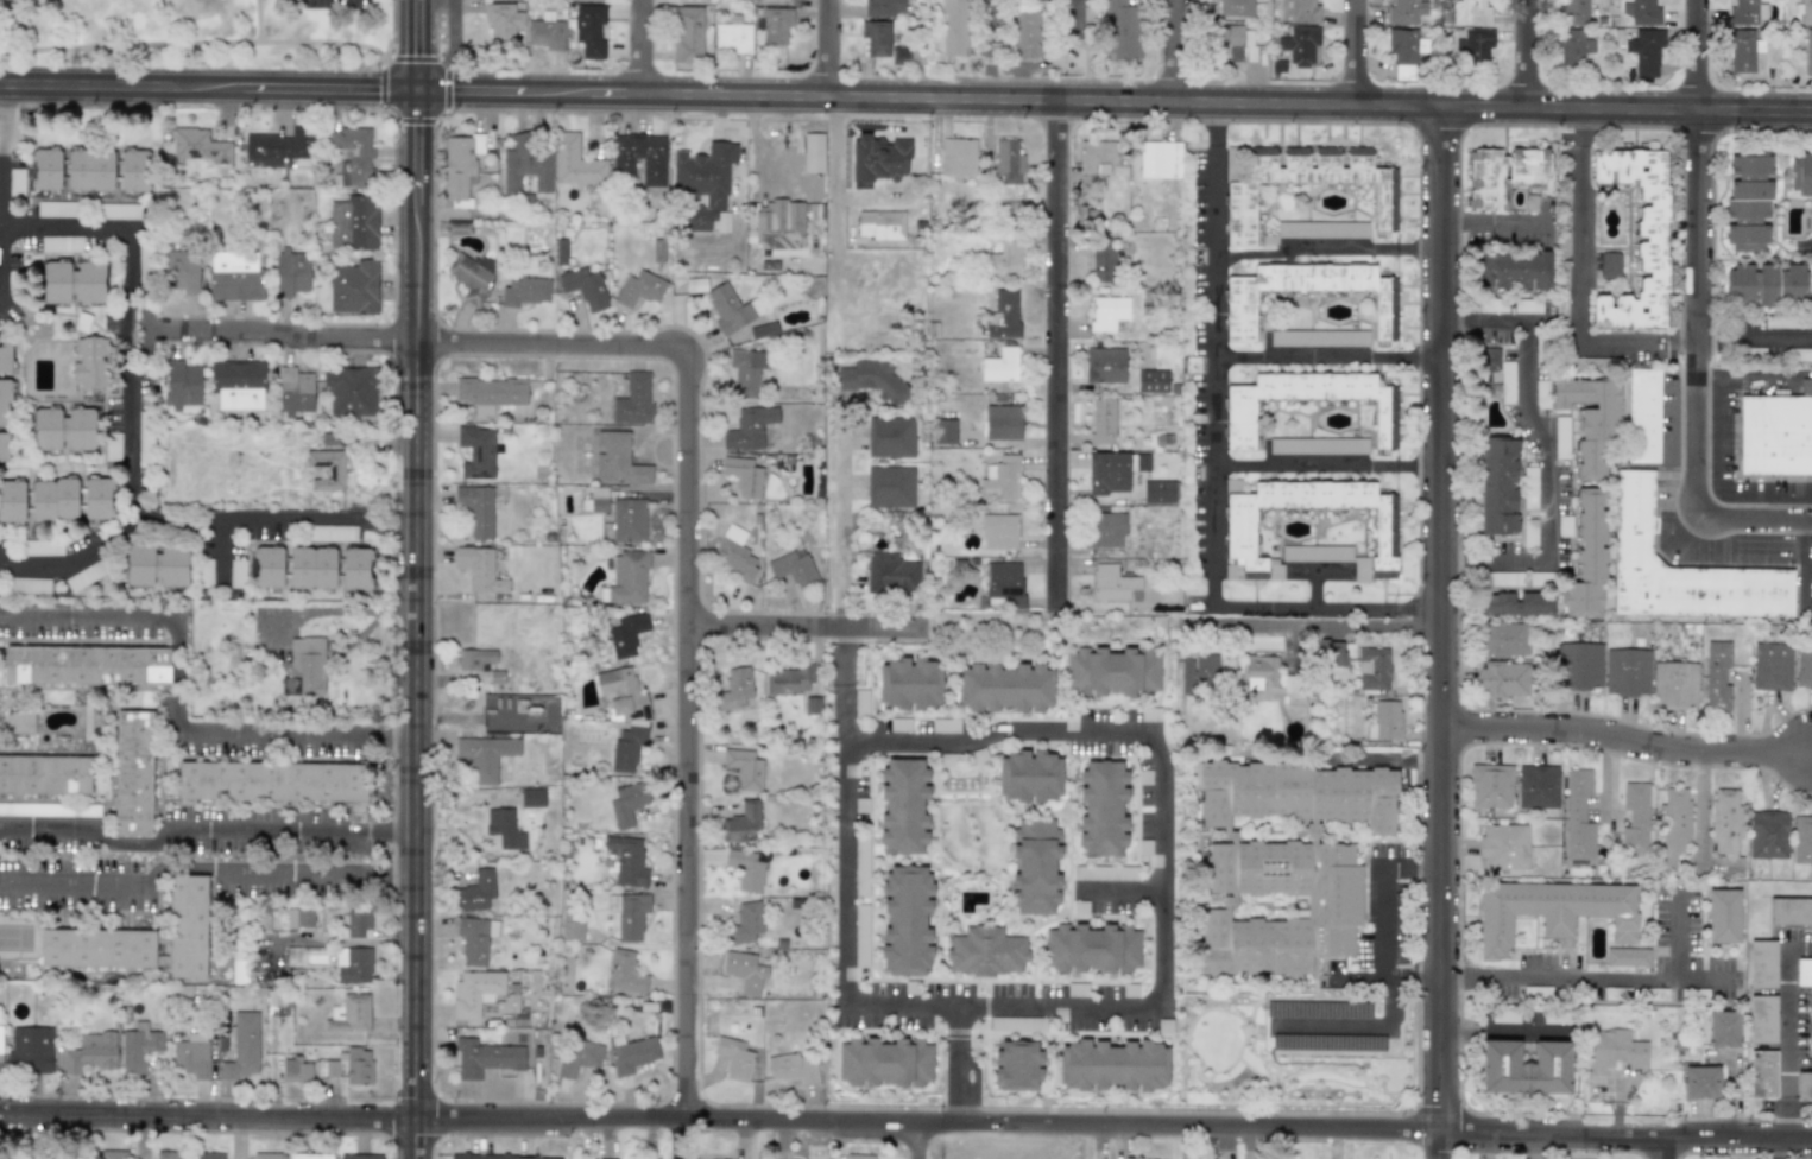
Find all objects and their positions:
building: (512, 0)
building: (587, 0)
building: (692, 1)
building: (771, 1)
building: (884, 7)
building: (1235, 8)
building: (1299, 11)
building: (1574, 11)
building: (1406, 12)
building: (1745, 12)
building: (1806, 12)
building: (1470, 13)
building: (1641, 13)
building: (503, 20)
building: (1071, 20)
road: (258, 21)
building: (774, 25)
building: (955, 27)
building: (1120, 28)
building: (589, 31)
park: (196, 33)
building: (545, 34)
building: (687, 34)
building: (1025, 34)
building: (733, 36)
building: (877, 39)
road: (415, 43)
building: (1233, 43)
road: (214, 45)
building: (1300, 45)
road: (642, 46)
building: (1402, 46)
building: (1472, 46)
road: (831, 49)
building: (1573, 49)
building: (1741, 50)
road: (991, 51)
road: (1172, 52)
building: (1646, 52)
building: (1807, 52)
road: (1357, 53)
road: (1527, 55)
road: (1698, 56)
building: (899, 57)
road: (207, 84)
road: (1112, 104)
road: (0, 120)
road: (1213, 138)
building: (200, 146)
building: (277, 147)
building: (813, 153)
building: (352, 156)
building: (958, 157)
building: (640, 158)
building: (879, 158)
building: (1160, 159)
building: (1094, 161)
building: (576, 163)
building: (524, 165)
building: (45, 169)
building: (460, 169)
building: (90, 170)
building: (134, 170)
building: (1008, 170)
building: (1503, 173)
building: (1800, 173)
building: (15, 182)
building: (705, 185)
building: (1748, 201)
building: (1242, 208)
building: (57, 209)
building: (1564, 210)
building: (119, 211)
road: (834, 218)
building: (353, 223)
building: (880, 224)
building: (779, 227)
building: (459, 228)
building: (1318, 230)
building: (1639, 239)
building: (59, 243)
building: (1564, 245)
road: (1292, 255)
road: (1407, 256)
building: (1005, 260)
building: (1104, 265)
building: (1610, 265)
building: (181, 271)
building: (1516, 271)
building: (291, 272)
building: (234, 277)
building: (471, 277)
building: (72, 283)
building: (1764, 284)
building: (689, 285)
building: (354, 287)
building: (585, 287)
building: (639, 289)
building: (524, 291)
building: (1492, 305)
building: (1527, 305)
building: (731, 309)
road: (1697, 311)
building: (1107, 312)
building: (1004, 315)
building: (1240, 316)
building: (1780, 322)
building: (763, 330)
building: (1319, 337)
road: (415, 340)
road: (1580, 342)
building: (1802, 355)
building: (5, 357)
road: (1055, 360)
road: (1327, 360)
building: (91, 363)
building: (1192, 365)
building: (1000, 366)
building: (1105, 366)
road: (1738, 369)
building: (746, 372)
building: (1503, 376)
building: (872, 379)
building: (1151, 381)
road: (127, 384)
building: (238, 384)
building: (182, 385)
building: (293, 392)
building: (351, 392)
building: (490, 393)
building: (1541, 394)
building: (633, 399)
building: (5, 401)
building: (1643, 416)
building: (1239, 418)
building: (1002, 422)
building: (1101, 422)
building: (1590, 424)
building: (749, 427)
building: (63, 429)
building: (945, 431)
building: (1776, 433)
building: (891, 437)
building: (1561, 437)
building: (145, 439)
building: (1318, 445)
building: (4, 446)
building: (112, 446)
road: (1545, 448)
building: (476, 452)
building: (615, 458)
road: (1290, 465)
road: (1406, 467)
building: (327, 469)
building: (1110, 471)
building: (744, 476)
building: (1002, 479)
building: (1498, 486)
building: (890, 487)
building: (1530, 488)
building: (1160, 492)
building: (97, 498)
building: (12, 500)
building: (53, 500)
building: (598, 500)
road: (1212, 507)
building: (478, 509)
road: (236, 517)
road: (371, 518)
road: (402, 518)
road: (1756, 519)
building: (629, 520)
road: (840, 525)
building: (1564, 526)
building: (1309, 528)
building: (1107, 530)
building: (999, 531)
building: (332, 532)
building: (1529, 534)
road: (219, 545)
building: (43, 547)
building: (735, 553)
building: (1587, 557)
building: (156, 565)
building: (267, 566)
building: (311, 568)
building: (355, 568)
building: (794, 568)
building: (479, 569)
building: (1681, 569)
building: (204, 572)
building: (236, 574)
building: (891, 574)
building: (86, 575)
building: (629, 578)
building: (1504, 578)
building: (1540, 578)
building: (1004, 584)
building: (1113, 584)
building: (29, 585)
building: (1516, 603)
road: (335, 610)
road: (1445, 620)
road: (415, 622)
road: (802, 629)
building: (626, 635)
building: (1504, 640)
building: (1331, 653)
road: (842, 657)
building: (475, 659)
building: (86, 665)
building: (308, 665)
building: (1804, 665)
building: (1578, 666)
building: (1772, 666)
building: (1375, 669)
building: (1113, 671)
building: (1627, 672)
building: (1200, 673)
building: (1716, 677)
building: (1268, 678)
building: (1504, 679)
building: (788, 680)
building: (910, 683)
road: (175, 684)
building: (1674, 684)
building: (1005, 688)
building: (734, 689)
building: (624, 695)
building: (860, 703)
building: (813, 705)
road: (845, 714)
building: (1385, 721)
building: (19, 722)
building: (899, 724)
building: (945, 726)
road: (394, 735)
road: (1629, 736)
building: (626, 748)
road: (683, 754)
building: (485, 756)
building: (744, 768)
building: (133, 773)
building: (44, 774)
building: (1029, 777)
building: (271, 781)
building: (1491, 786)
building: (1538, 786)
building: (532, 798)
building: (627, 803)
building: (903, 806)
building: (1103, 807)
building: (50, 809)
road: (1162, 811)
building: (1578, 816)
building: (1635, 818)
building: (741, 823)
building: (1674, 823)
building: (504, 828)
building: (1726, 828)
road: (179, 829)
road: (392, 831)
building: (1768, 835)
building: (1802, 840)
building: (1504, 847)
building: (627, 861)
building: (1284, 862)
building: (860, 864)
building: (1036, 866)
building: (745, 869)
road: (310, 870)
building: (1105, 873)
road: (71, 881)
road: (1124, 889)
building: (475, 892)
building: (1080, 907)
building: (1789, 911)
building: (1552, 912)
building: (631, 916)
building: (1723, 916)
building: (299, 917)
road: (1379, 919)
building: (907, 920)
building: (356, 921)
building: (746, 923)
building: (188, 926)
building: (573, 931)
building: (860, 936)
park: (20, 937)
building: (475, 939)
road: (339, 940)
building: (97, 948)
building: (1092, 948)
building: (986, 951)
building: (1627, 957)
building: (353, 964)
building: (1762, 964)
building: (745, 970)
building: (1804, 971)
building: (625, 973)
road: (1604, 977)
road: (846, 993)
building: (482, 994)
building: (1658, 994)
building: (349, 1014)
building: (1504, 1015)
building: (1548, 1016)
building: (1762, 1019)
building: (1016, 1024)
road: (1357, 1028)
building: (1723, 1028)
building: (1811, 1028)
road: (1507, 1031)
road: (1787, 1033)
building: (242, 1046)
building: (30, 1047)
building: (138, 1047)
building: (0, 1050)
building: (1612, 1050)
building: (90, 1053)
building: (633, 1054)
building: (191, 1056)
building: (579, 1056)
building: (485, 1057)
building: (734, 1058)
building: (885, 1062)
building: (348, 1065)
building: (1017, 1065)
building: (1112, 1065)
building: (793, 1068)
building: (1523, 1068)
building: (296, 1070)
building: (1762, 1073)
building: (1700, 1082)
building: (1804, 1085)
road: (1734, 1096)
road: (905, 1126)
road: (920, 1142)
road: (1439, 1145)
road: (1660, 1148)
road: (1780, 1149)
building: (113, 1154)
building: (175, 1154)
building: (210, 1155)
building: (266, 1155)
building: (309, 1155)
building: (359, 1155)
building: (858, 1155)
building: (497, 1157)
building: (600, 1158)

